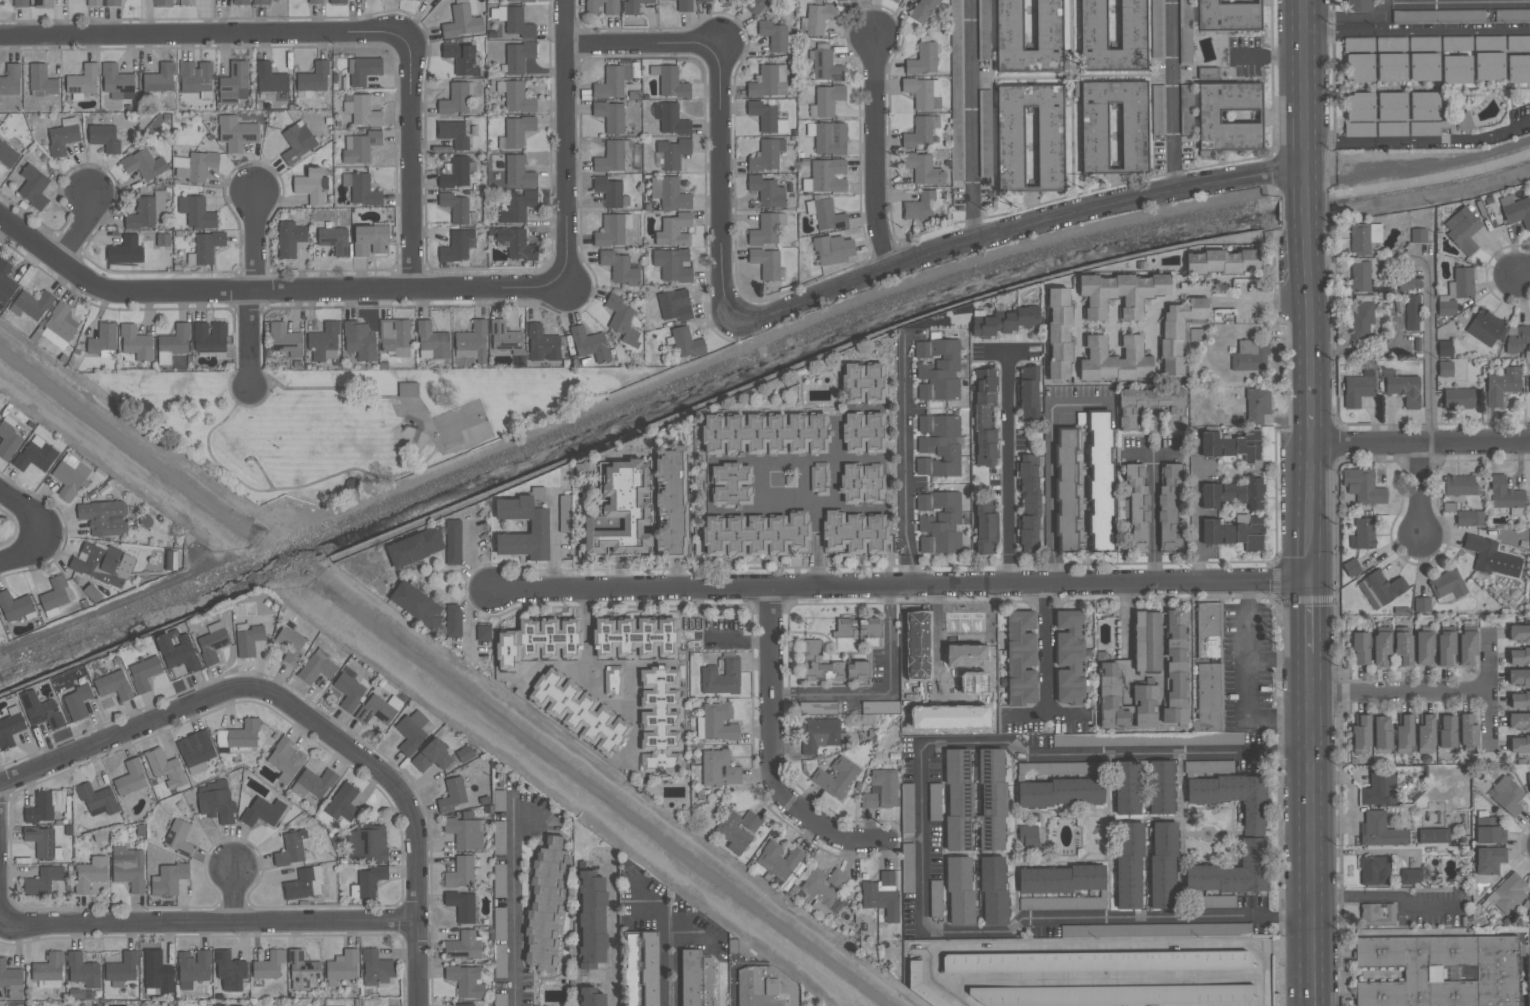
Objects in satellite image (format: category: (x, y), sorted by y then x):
building: (516, 0)
building: (896, 0)
building: (260, 1)
building: (314, 1)
building: (338, 1)
building: (704, 1)
road: (1414, 1)
building: (112, 2)
building: (162, 2)
building: (186, 2)
building: (240, 2)
building: (20, 3)
building: (43, 3)
building: (93, 3)
building: (635, 5)
building: (684, 5)
building: (1358, 5)
building: (755, 6)
building: (610, 8)
building: (922, 10)
building: (1512, 14)
building: (1228, 15)
building: (1437, 15)
building: (817, 18)
building: (462, 21)
building: (519, 23)
building: (1048, 24)
building: (1093, 24)
building: (984, 29)
building: (1157, 29)
road: (1417, 30)
building: (1185, 31)
building: (774, 34)
road: (326, 38)
building: (1389, 42)
building: (1419, 42)
building: (1456, 42)
building: (1518, 42)
building: (1489, 43)
building: (518, 56)
building: (461, 58)
building: (923, 59)
building: (1360, 59)
building: (1489, 65)
building: (825, 66)
building: (1391, 66)
building: (1424, 66)
road: (1170, 67)
building: (1518, 68)
building: (363, 69)
building: (1456, 69)
building: (195, 76)
building: (41, 78)
building: (160, 78)
building: (270, 78)
building: (10, 79)
building: (313, 79)
building: (82, 80)
building: (117, 81)
building: (612, 81)
building: (769, 81)
road: (1306, 81)
building: (671, 82)
building: (234, 83)
building: (957, 90)
building: (923, 92)
road: (970, 92)
building: (516, 96)
building: (455, 98)
building: (826, 100)
building: (1424, 104)
building: (1359, 105)
building: (1391, 105)
road: (720, 109)
building: (1158, 109)
building: (362, 110)
building: (1186, 110)
building: (1230, 115)
building: (610, 116)
building: (767, 117)
building: (673, 119)
building: (1463, 121)
building: (1391, 128)
building: (1424, 128)
building: (1359, 129)
building: (921, 130)
building: (516, 131)
building: (236, 132)
building: (985, 132)
building: (453, 133)
building: (1093, 135)
building: (63, 136)
building: (104, 137)
building: (829, 137)
building: (297, 141)
road: (1419, 141)
road: (567, 142)
building: (360, 146)
building: (1050, 146)
building: (10, 152)
building: (673, 152)
road: (873, 153)
building: (767, 154)
building: (610, 157)
road: (1172, 162)
building: (144, 164)
building: (195, 165)
building: (924, 169)
building: (519, 171)
building: (457, 172)
building: (828, 175)
road: (1307, 179)
building: (311, 185)
building: (33, 186)
building: (361, 189)
building: (610, 191)
building: (767, 191)
building: (669, 192)
building: (517, 205)
building: (457, 206)
building: (919, 206)
building: (1516, 210)
building: (146, 211)
building: (196, 211)
road: (972, 213)
road: (1307, 213)
building: (826, 214)
building: (612, 229)
building: (765, 229)
building: (1462, 229)
building: (674, 230)
road: (1015, 230)
road: (80, 231)
building: (1418, 235)
building: (1363, 237)
building: (290, 238)
building: (163, 239)
building: (334, 239)
building: (370, 239)
building: (516, 243)
building: (207, 245)
building: (458, 245)
building: (833, 249)
building: (122, 250)
building: (1222, 261)
building: (767, 263)
building: (673, 264)
building: (619, 267)
road: (1523, 274)
building: (1360, 276)
building: (1405, 282)
building: (5, 283)
road: (254, 289)
road: (271, 291)
building: (1119, 293)
road: (1262, 302)
building: (31, 304)
building: (675, 305)
road: (1310, 306)
building: (1446, 306)
building: (1412, 312)
building: (1017, 318)
building: (1363, 318)
building: (621, 319)
building: (59, 326)
building: (983, 326)
building: (1486, 327)
building: (1058, 332)
building: (1178, 332)
building: (209, 336)
building: (395, 336)
building: (505, 337)
building: (285, 339)
building: (1517, 339)
building: (103, 340)
building: (359, 340)
building: (433, 340)
building: (174, 341)
building: (324, 341)
building: (471, 341)
building: (135, 342)
building: (686, 342)
building: (589, 343)
building: (542, 344)
building: (1445, 347)
road: (1009, 353)
building: (1250, 355)
road: (1431, 355)
building: (1114, 359)
building: (1445, 368)
building: (937, 369)
building: (1529, 378)
building: (863, 383)
building: (1500, 385)
building: (1402, 387)
building: (1358, 388)
building: (408, 389)
road: (644, 389)
building: (1028, 393)
building: (1458, 398)
building: (1254, 404)
building: (1151, 406)
road: (1312, 413)
building: (984, 417)
building: (1229, 417)
park: (346, 427)
park: (462, 427)
building: (863, 432)
building: (765, 433)
building: (8, 438)
road: (1421, 443)
building: (938, 445)
building: (1232, 446)
building: (36, 454)
road: (1151, 454)
road: (819, 458)
road: (906, 461)
road: (836, 463)
road: (1052, 466)
road: (1008, 467)
road: (416, 469)
road: (262, 471)
building: (70, 476)
building: (819, 477)
building: (1100, 480)
road: (758, 482)
road: (805, 482)
building: (862, 483)
building: (730, 484)
building: (1362, 485)
building: (1459, 485)
road: (1422, 488)
building: (1066, 490)
building: (1234, 493)
building: (1506, 495)
building: (671, 501)
building: (1028, 501)
building: (1170, 505)
road: (822, 506)
building: (620, 510)
building: (1137, 510)
road: (22, 511)
road: (1196, 512)
road: (1312, 514)
building: (104, 517)
road: (1152, 517)
building: (1469, 518)
building: (939, 521)
building: (539, 526)
building: (985, 527)
building: (855, 532)
building: (1233, 533)
building: (754, 534)
building: (1363, 534)
building: (453, 541)
road: (818, 546)
building: (415, 547)
road: (22, 551)
building: (1493, 557)
road: (469, 561)
building: (101, 565)
building: (1351, 567)
traffic signals: (1311, 582)
road: (903, 584)
building: (1448, 585)
building: (1380, 588)
building: (55, 593)
building: (416, 604)
building: (1422, 604)
building: (14, 605)
road: (586, 615)
road: (1311, 617)
building: (453, 620)
building: (977, 626)
building: (857, 627)
building: (930, 630)
building: (1208, 630)
building: (483, 633)
building: (1518, 633)
building: (635, 638)
building: (248, 639)
building: (1147, 641)
building: (212, 642)
building: (538, 642)
building: (290, 644)
road: (1049, 646)
building: (1403, 647)
building: (1359, 648)
building: (1381, 648)
building: (1424, 648)
building: (1445, 648)
building: (1467, 648)
building: (177, 652)
building: (1519, 656)
building: (1069, 657)
building: (1021, 658)
road: (1280, 660)
building: (829, 665)
building: (317, 666)
road: (562, 667)
building: (1176, 669)
building: (143, 673)
building: (721, 677)
building: (1518, 677)
road: (1249, 680)
building: (613, 681)
building: (113, 685)
road: (773, 688)
building: (348, 689)
road: (1490, 689)
building: (1110, 690)
road: (1400, 690)
road: (886, 695)
building: (1209, 698)
building: (1519, 699)
building: (77, 702)
building: (1144, 705)
building: (881, 707)
road: (622, 708)
building: (818, 708)
building: (378, 709)
building: (40, 710)
building: (578, 711)
road: (307, 719)
building: (659, 720)
building: (718, 721)
building: (1518, 721)
building: (1468, 730)
building: (411, 731)
building: (1447, 731)
building: (1382, 732)
building: (1425, 733)
building: (819, 734)
building: (239, 735)
building: (1361, 735)
building: (1404, 735)
road: (633, 737)
building: (1222, 738)
building: (1073, 739)
building: (1519, 743)
building: (196, 751)
road: (1113, 752)
building: (464, 753)
building: (432, 756)
building: (285, 759)
building: (162, 765)
building: (713, 766)
building: (1208, 766)
building: (1058, 767)
building: (732, 775)
building: (836, 777)
building: (130, 778)
building: (1528, 780)
building: (314, 783)
building: (1127, 787)
building: (1161, 787)
building: (1379, 788)
building: (881, 790)
building: (1060, 792)
building: (452, 794)
building: (1507, 795)
building: (95, 796)
building: (993, 797)
building: (1233, 797)
building: (958, 799)
building: (499, 800)
building: (216, 801)
building: (342, 802)
building: (46, 805)
building: (935, 806)
building: (264, 810)
building: (738, 827)
road: (1312, 829)
road: (825, 830)
building: (1381, 830)
building: (1489, 831)
building: (465, 832)
building: (1433, 835)
building: (499, 837)
road: (920, 837)
building: (1028, 837)
building: (178, 838)
building: (43, 842)
building: (369, 844)
building: (292, 848)
building: (908, 857)
building: (1489, 859)
building: (778, 860)
building: (1163, 865)
building: (1129, 866)
building: (128, 867)
building: (1375, 870)
building: (1233, 871)
building: (460, 872)
building: (90, 873)
building: (1411, 876)
building: (836, 878)
building: (1063, 879)
building: (169, 880)
building: (499, 880)
building: (42, 881)
building: (368, 881)
building: (304, 883)
building: (960, 890)
building: (993, 890)
building: (815, 891)
building: (1507, 893)
road: (1387, 894)
building: (883, 896)
road: (234, 897)
building: (1214, 901)
building: (1063, 902)
road: (514, 904)
building: (545, 904)
building: (461, 906)
building: (1529, 908)
building: (1377, 913)
road: (1116, 917)
building: (591, 918)
road: (208, 923)
building: (499, 923)
building: (1155, 929)
road: (611, 936)
road: (1287, 944)
building: (464, 947)
road: (1087, 948)
building: (500, 960)
road: (668, 961)
building: (1098, 962)
building: (269, 965)
building: (122, 967)
building: (193, 967)
building: (342, 967)
building: (376, 968)
building: (648, 968)
building: (83, 970)
building: (230, 970)
building: (302, 970)
building: (1441, 970)
building: (48, 971)
building: (697, 978)
building: (11, 979)
building: (466, 980)
building: (922, 986)
building: (764, 987)
building: (1109, 995)
building: (591, 997)
building: (500, 999)
building: (465, 1004)
building: (237, 1005)

